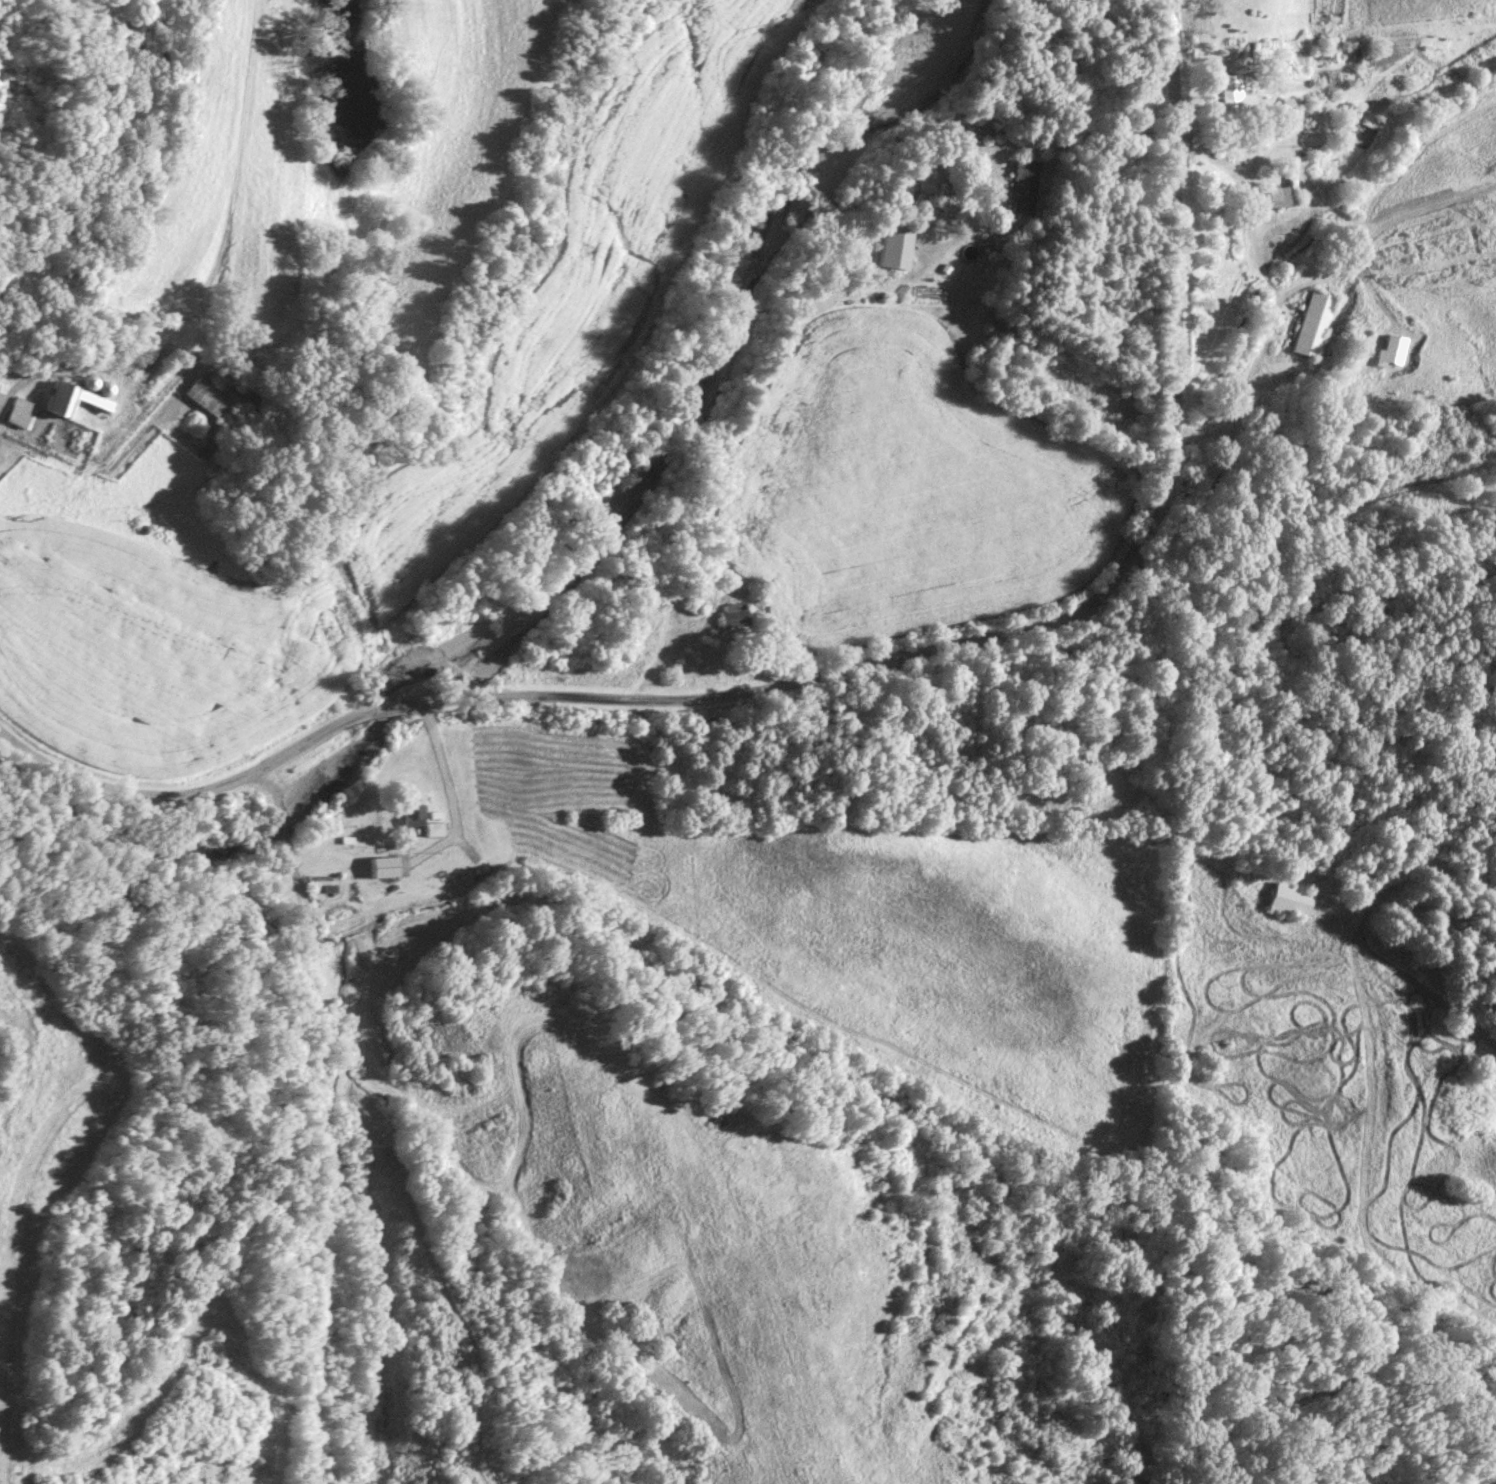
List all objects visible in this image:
building: (1236, 96)
building: (1025, 185)
building: (1280, 195)
building: (898, 245)
road: (1174, 293)
building: (1318, 323)
building: (2, 388)
building: (221, 393)
building: (80, 397)
building: (24, 412)
road: (986, 425)
road: (1106, 588)
building: (697, 604)
building: (738, 616)
road: (536, 692)
building: (1057, 735)
building: (415, 813)
building: (436, 827)
building: (391, 864)
building: (1294, 899)
road: (1360, 941)
road: (343, 1115)

